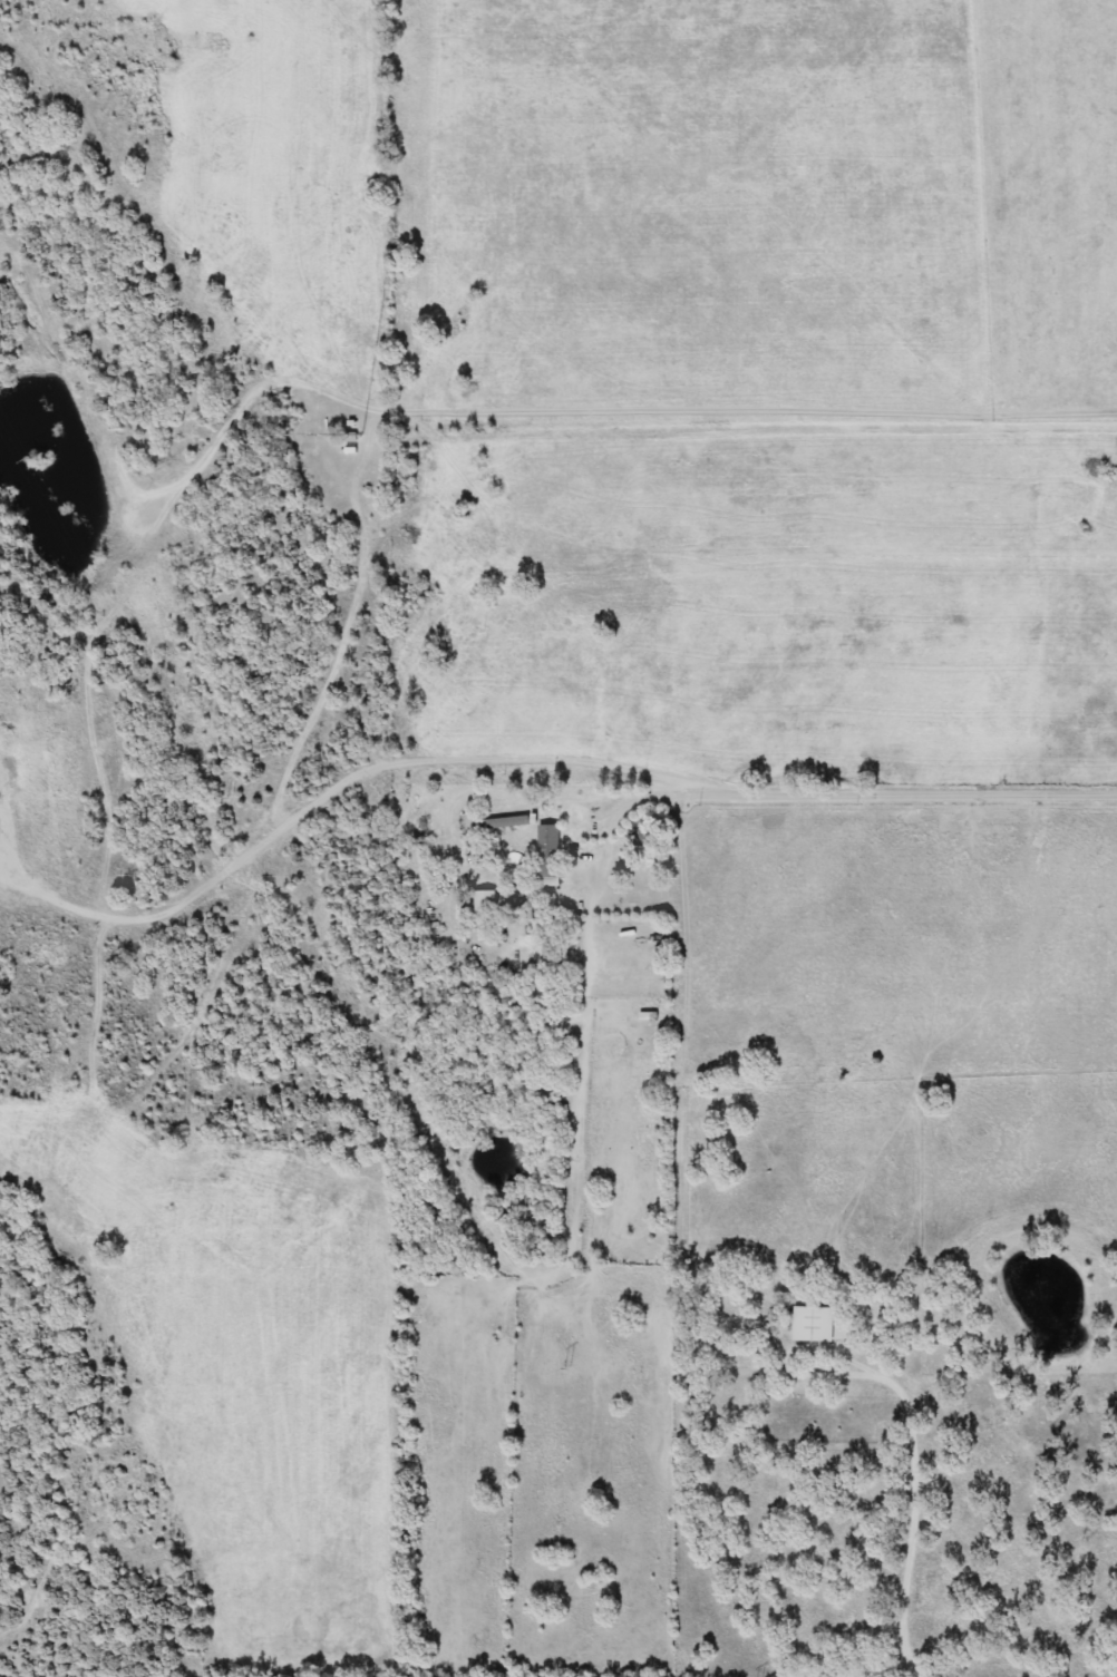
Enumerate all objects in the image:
power tower: (41, 462)
road: (856, 790)
power tower: (232, 792)
building: (547, 841)
building: (573, 864)
building: (487, 901)
power tower: (420, 1091)
building: (810, 1324)
power tower: (574, 1368)

